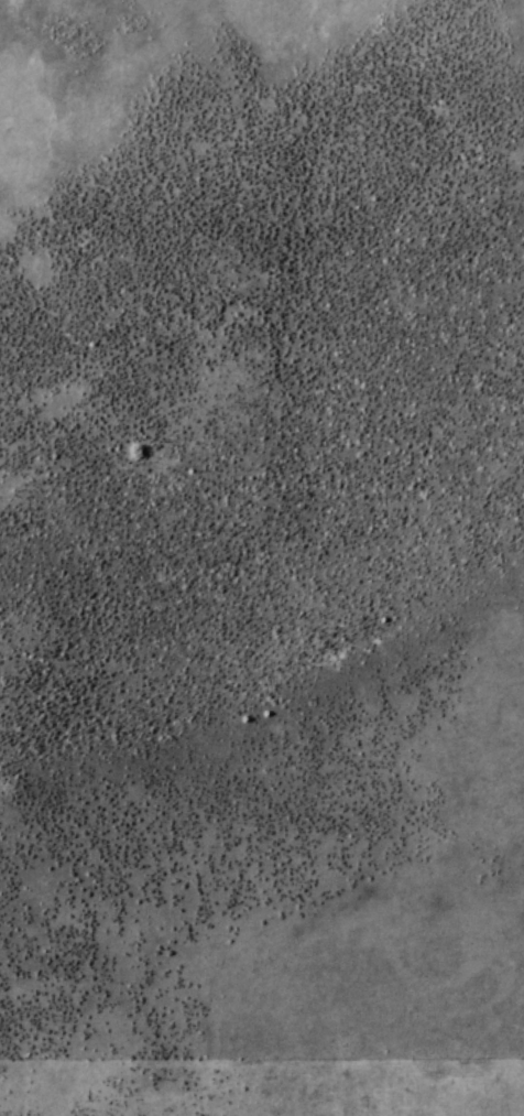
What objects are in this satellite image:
road: (262, 1071)

